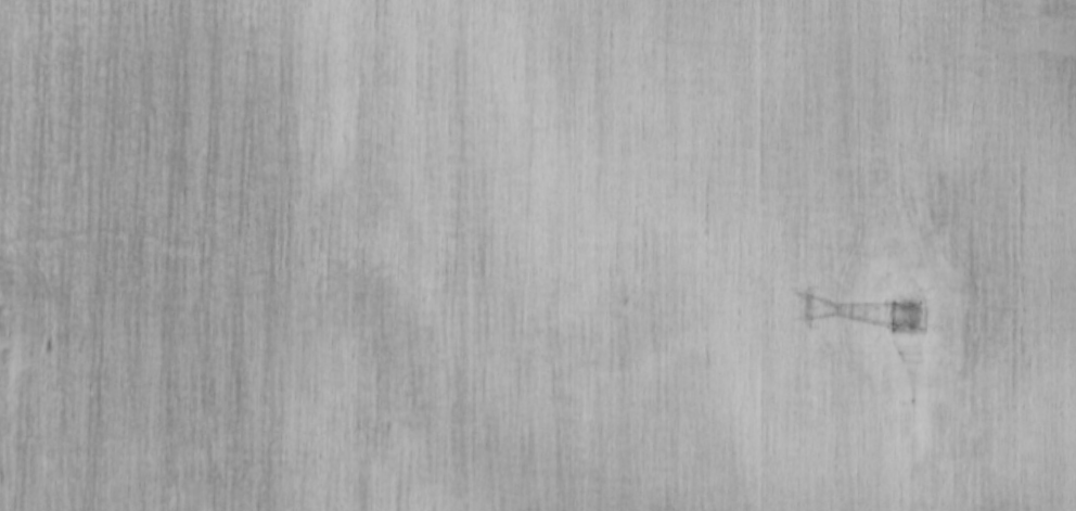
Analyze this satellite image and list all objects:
power tower: (909, 327)

